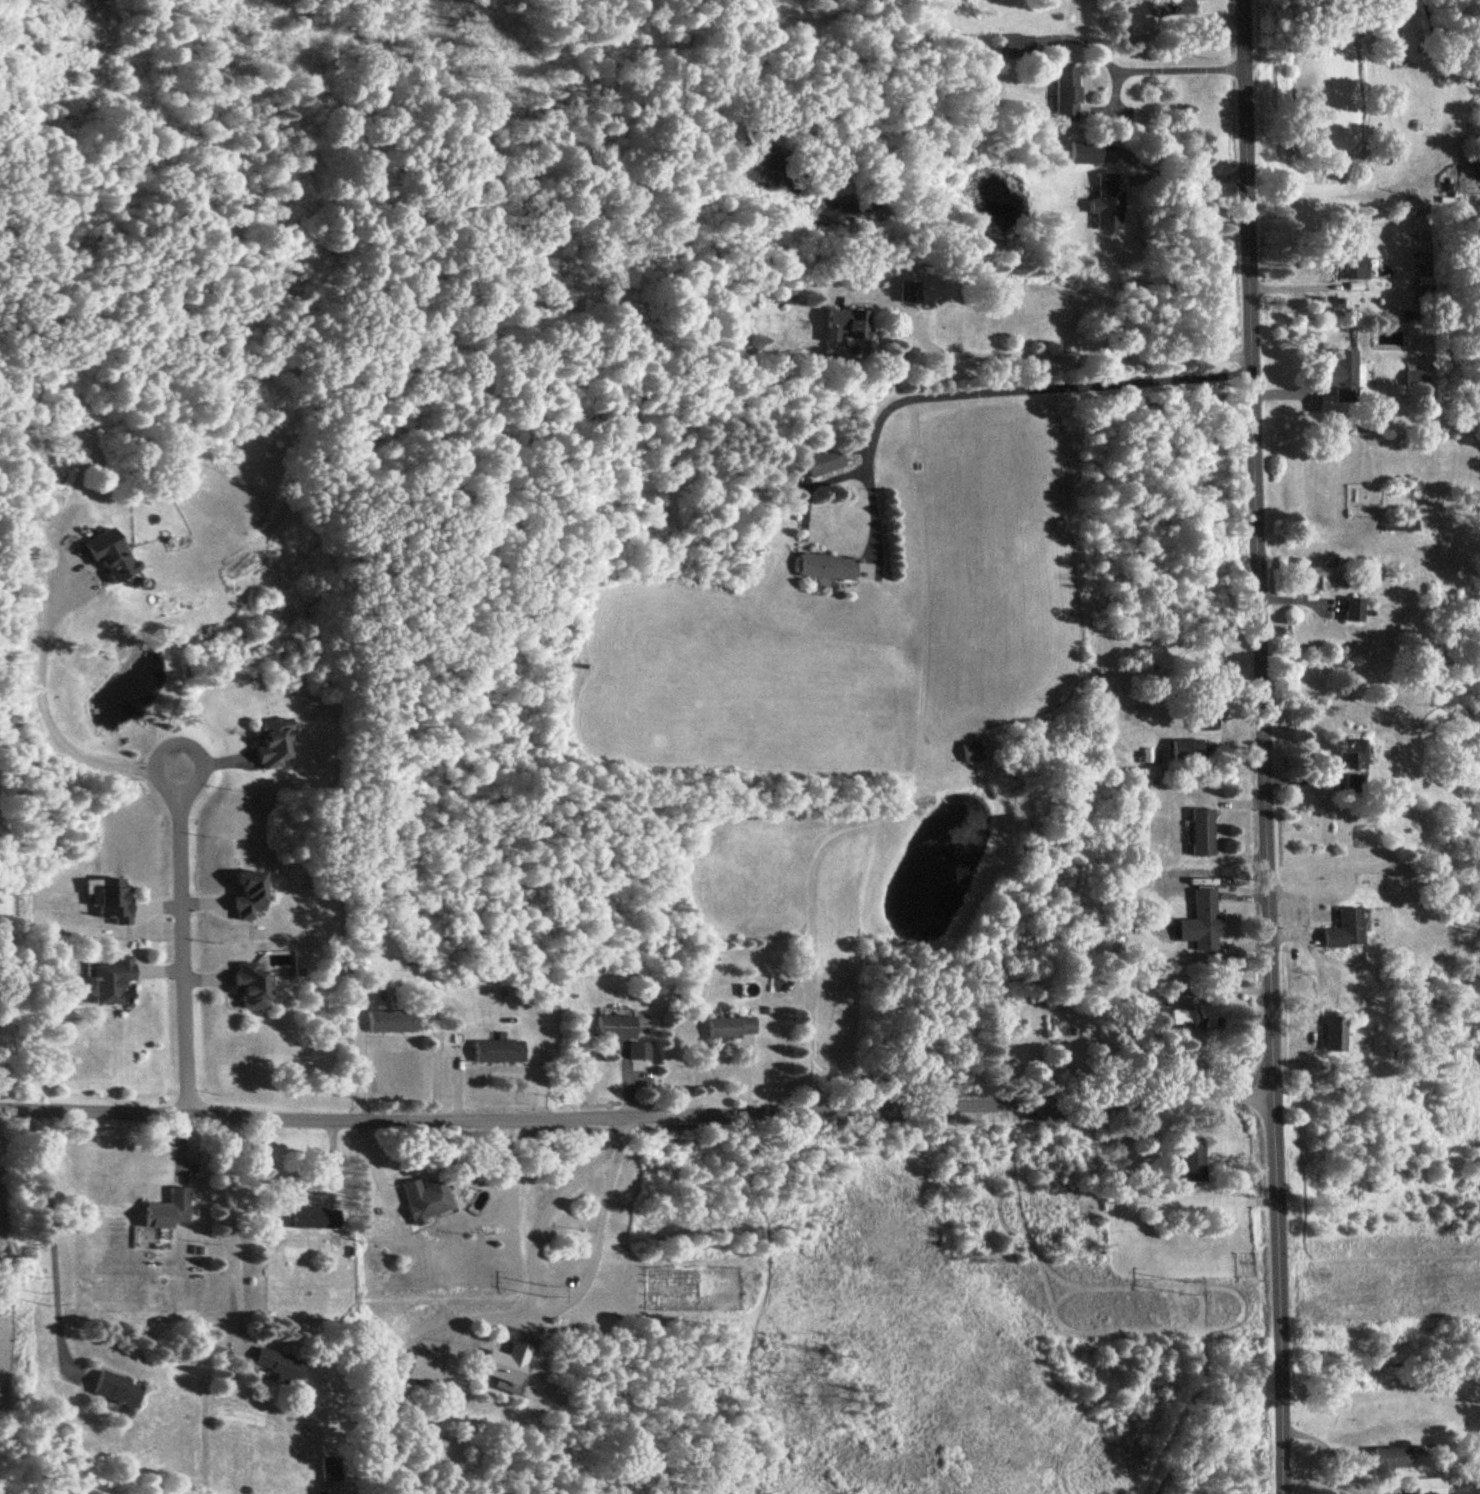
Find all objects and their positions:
building: (1167, 6)
building: (1136, 25)
building: (1013, 44)
road: (1149, 69)
building: (1062, 93)
building: (1080, 151)
road: (1184, 177)
building: (1103, 202)
building: (1351, 270)
building: (844, 322)
road: (1036, 355)
building: (1339, 374)
building: (1413, 375)
road: (983, 390)
building: (821, 459)
building: (1396, 523)
building: (107, 554)
building: (823, 565)
building: (1317, 576)
building: (1349, 608)
building: (1201, 717)
road: (43, 718)
building: (269, 741)
road: (1255, 747)
building: (1182, 748)
building: (1349, 750)
building: (1350, 782)
building: (1197, 830)
building: (245, 893)
building: (110, 898)
building: (1197, 921)
building: (1340, 928)
road: (181, 940)
building: (248, 983)
building: (1178, 1014)
building: (1201, 1015)
building: (638, 1019)
building: (387, 1020)
building: (610, 1025)
building: (726, 1026)
building: (1331, 1032)
building: (635, 1049)
building: (493, 1050)
road: (632, 1113)
building: (1185, 1158)
building: (420, 1199)
road: (547, 1205)
building: (164, 1208)
building: (302, 1215)
road: (228, 1225)
road: (49, 1241)
road: (591, 1251)
power tower: (1178, 1283)
power tower: (558, 1288)
power tower: (43, 1294)
building: (275, 1364)
building: (499, 1367)
building: (419, 1369)
building: (112, 1387)
road: (1318, 1441)
building: (1384, 1458)
building: (329, 1467)
road: (1338, 1484)
building: (1423, 1485)

